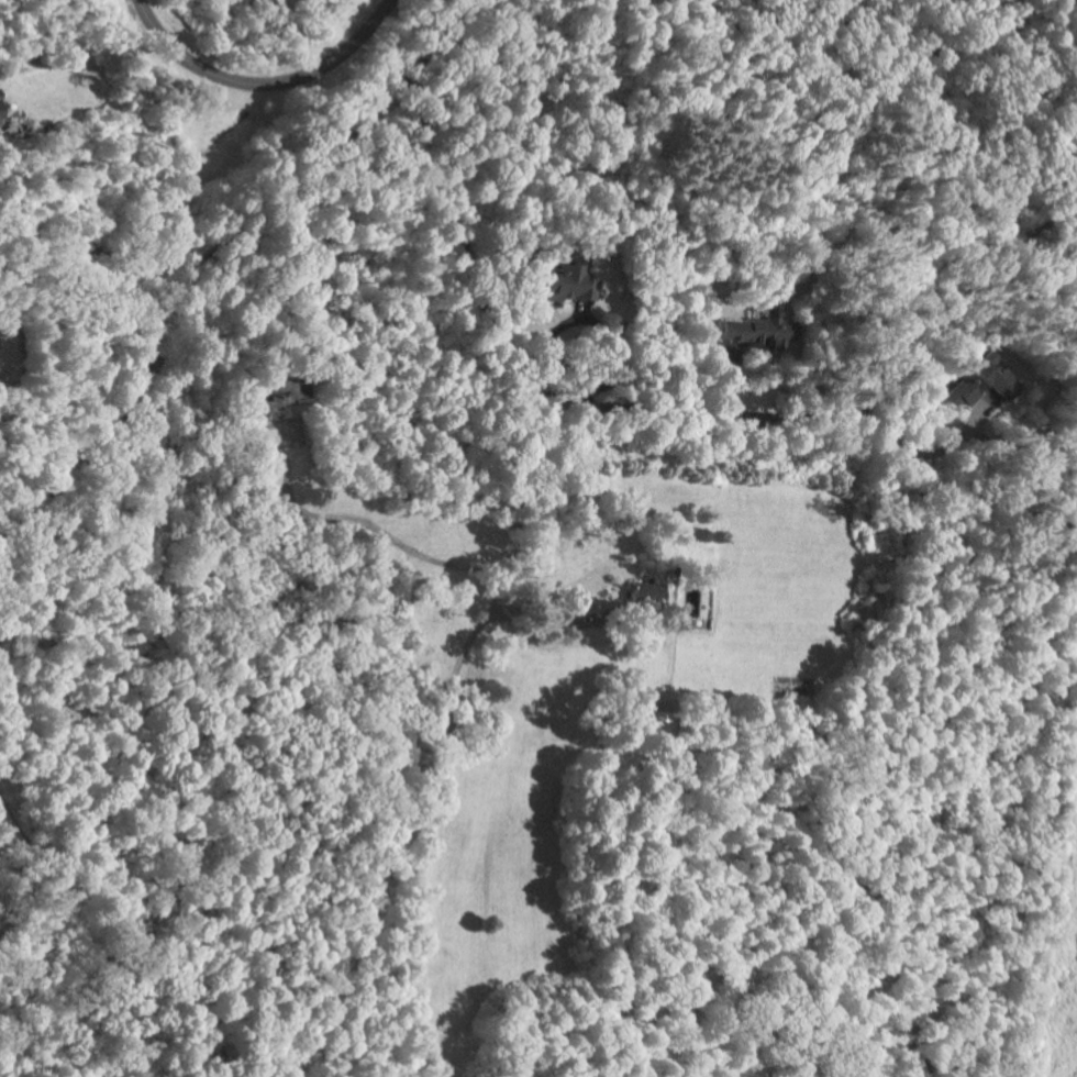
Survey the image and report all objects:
road: (263, 84)
building: (1, 107)
road: (212, 254)
building: (558, 281)
building: (751, 332)
road: (611, 345)
building: (973, 380)
road: (732, 412)
road: (378, 531)
road: (506, 573)
building: (636, 595)
road: (543, 624)

